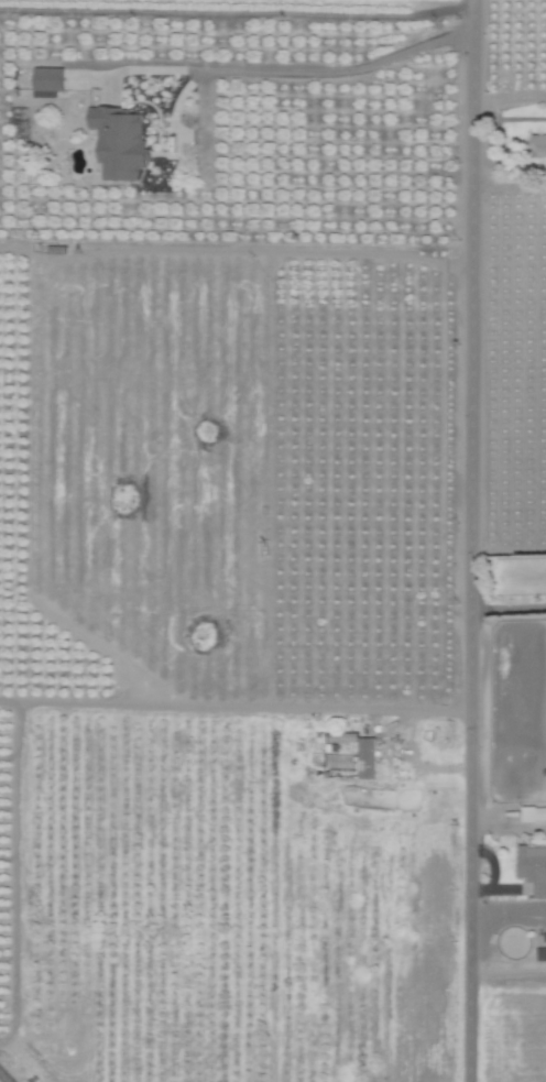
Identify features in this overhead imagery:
road: (340, 72)
building: (45, 83)
road: (510, 100)
building: (117, 142)
building: (538, 145)
crop: (273, 540)
road: (471, 540)
road: (509, 609)
building: (337, 737)
building: (356, 759)
building: (533, 813)
crop: (452, 824)
building: (532, 867)
crop: (30, 933)
railway: (1, 1080)

